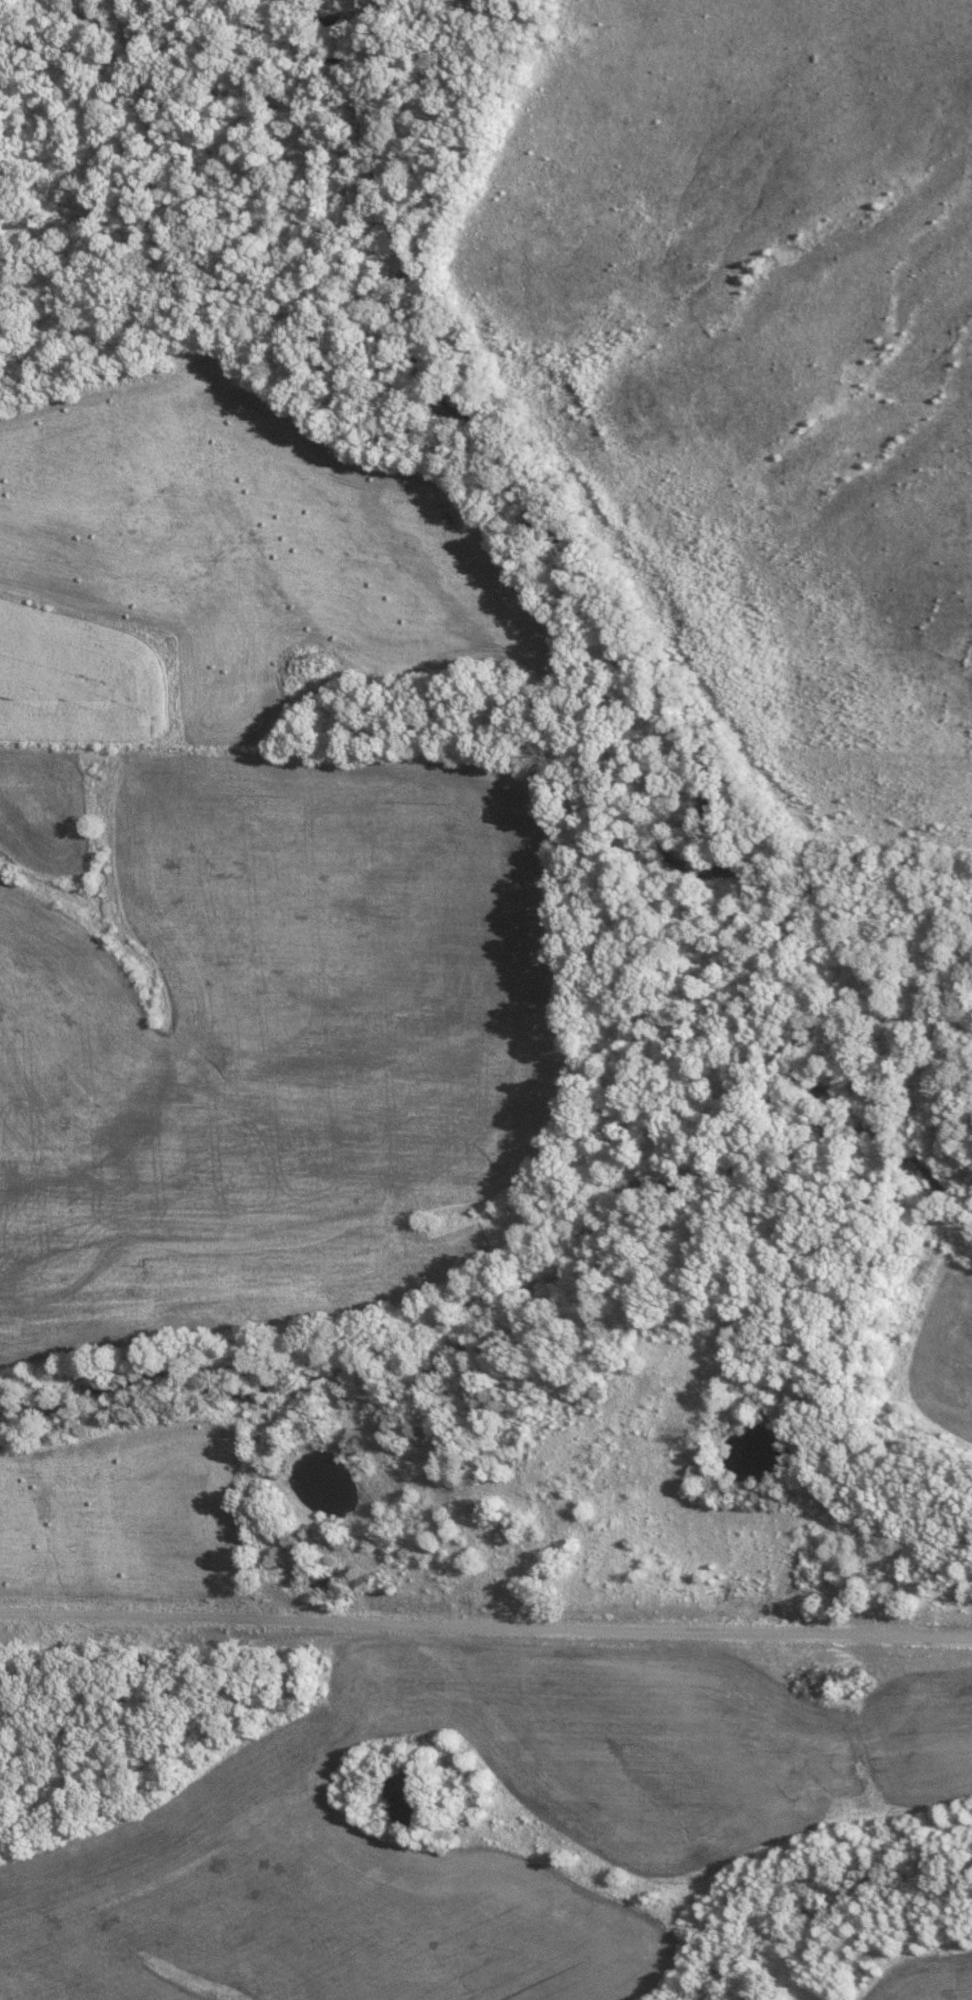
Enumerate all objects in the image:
road: (485, 1629)

